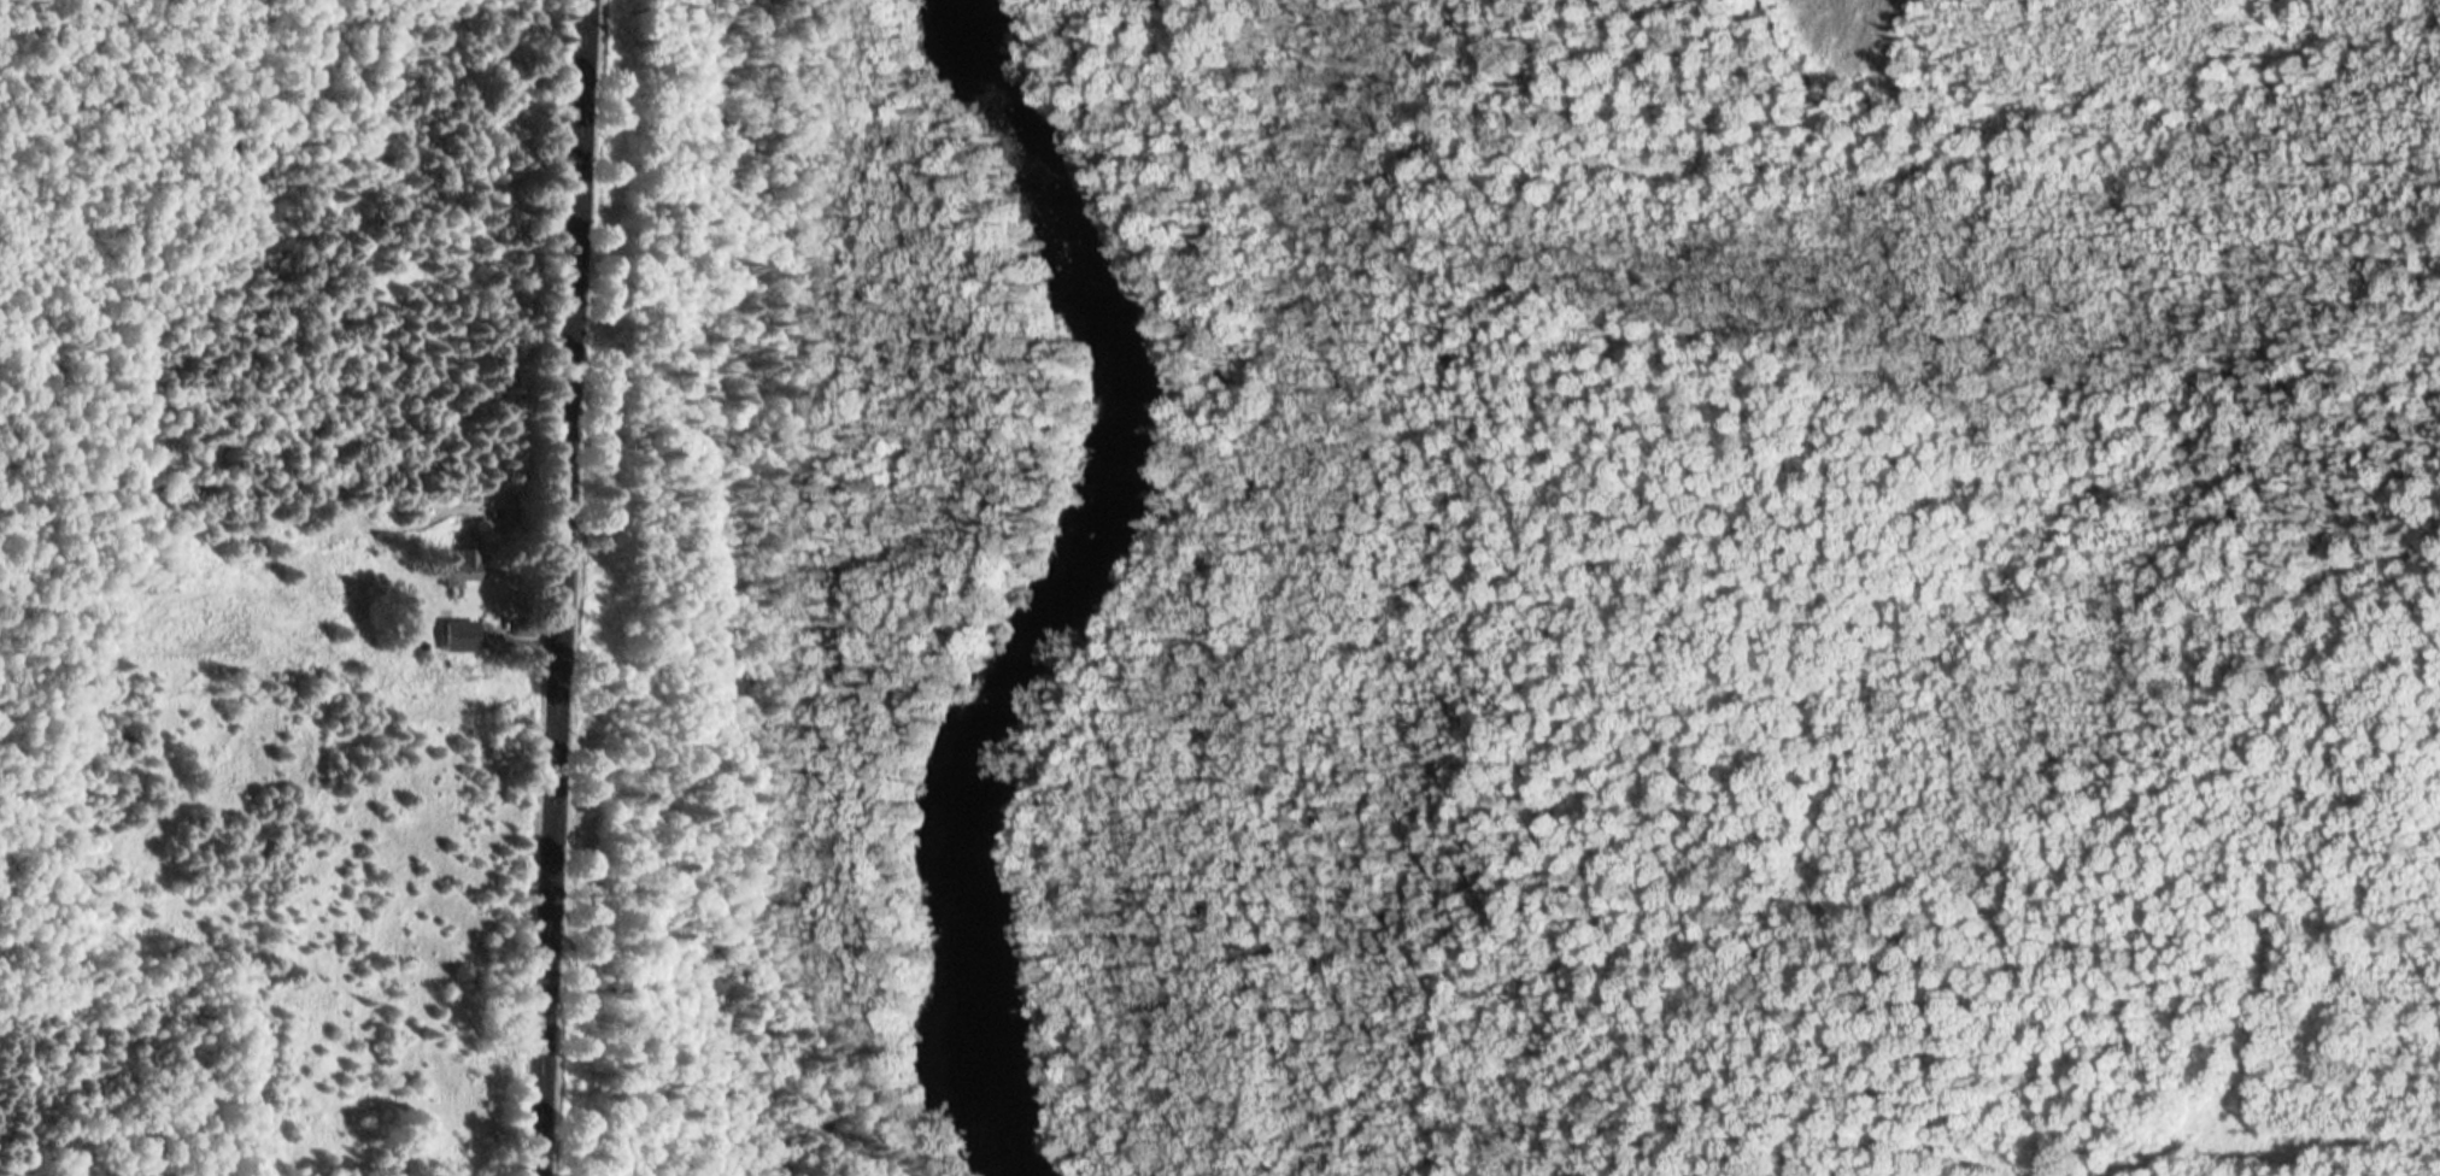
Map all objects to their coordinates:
building: (461, 569)
river: (1046, 572)
road: (541, 587)
building: (461, 636)

